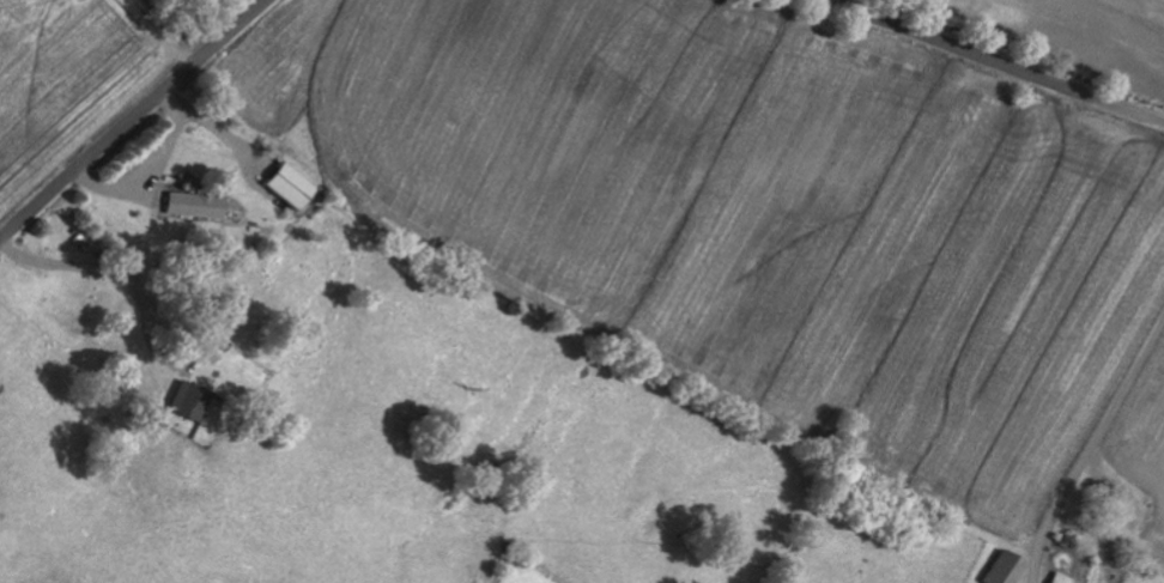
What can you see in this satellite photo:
road: (996, 63)
road: (134, 121)
building: (296, 187)
building: (198, 207)
building: (193, 400)
building: (1063, 578)

